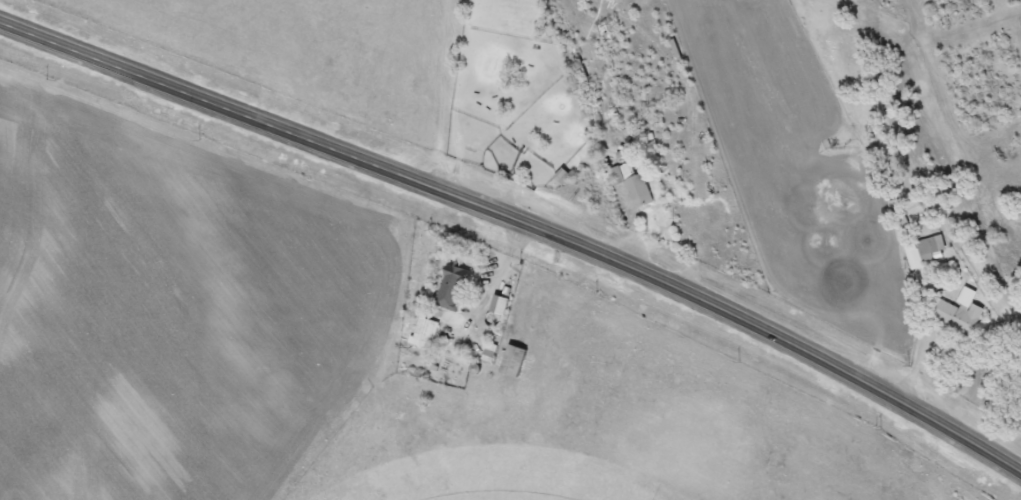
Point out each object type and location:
building: (579, 72)
building: (630, 185)
building: (897, 214)
road: (521, 221)
building: (927, 251)
railway: (515, 256)
building: (450, 288)
building: (496, 306)
building: (955, 316)
building: (423, 334)
building: (487, 354)
building: (510, 361)

